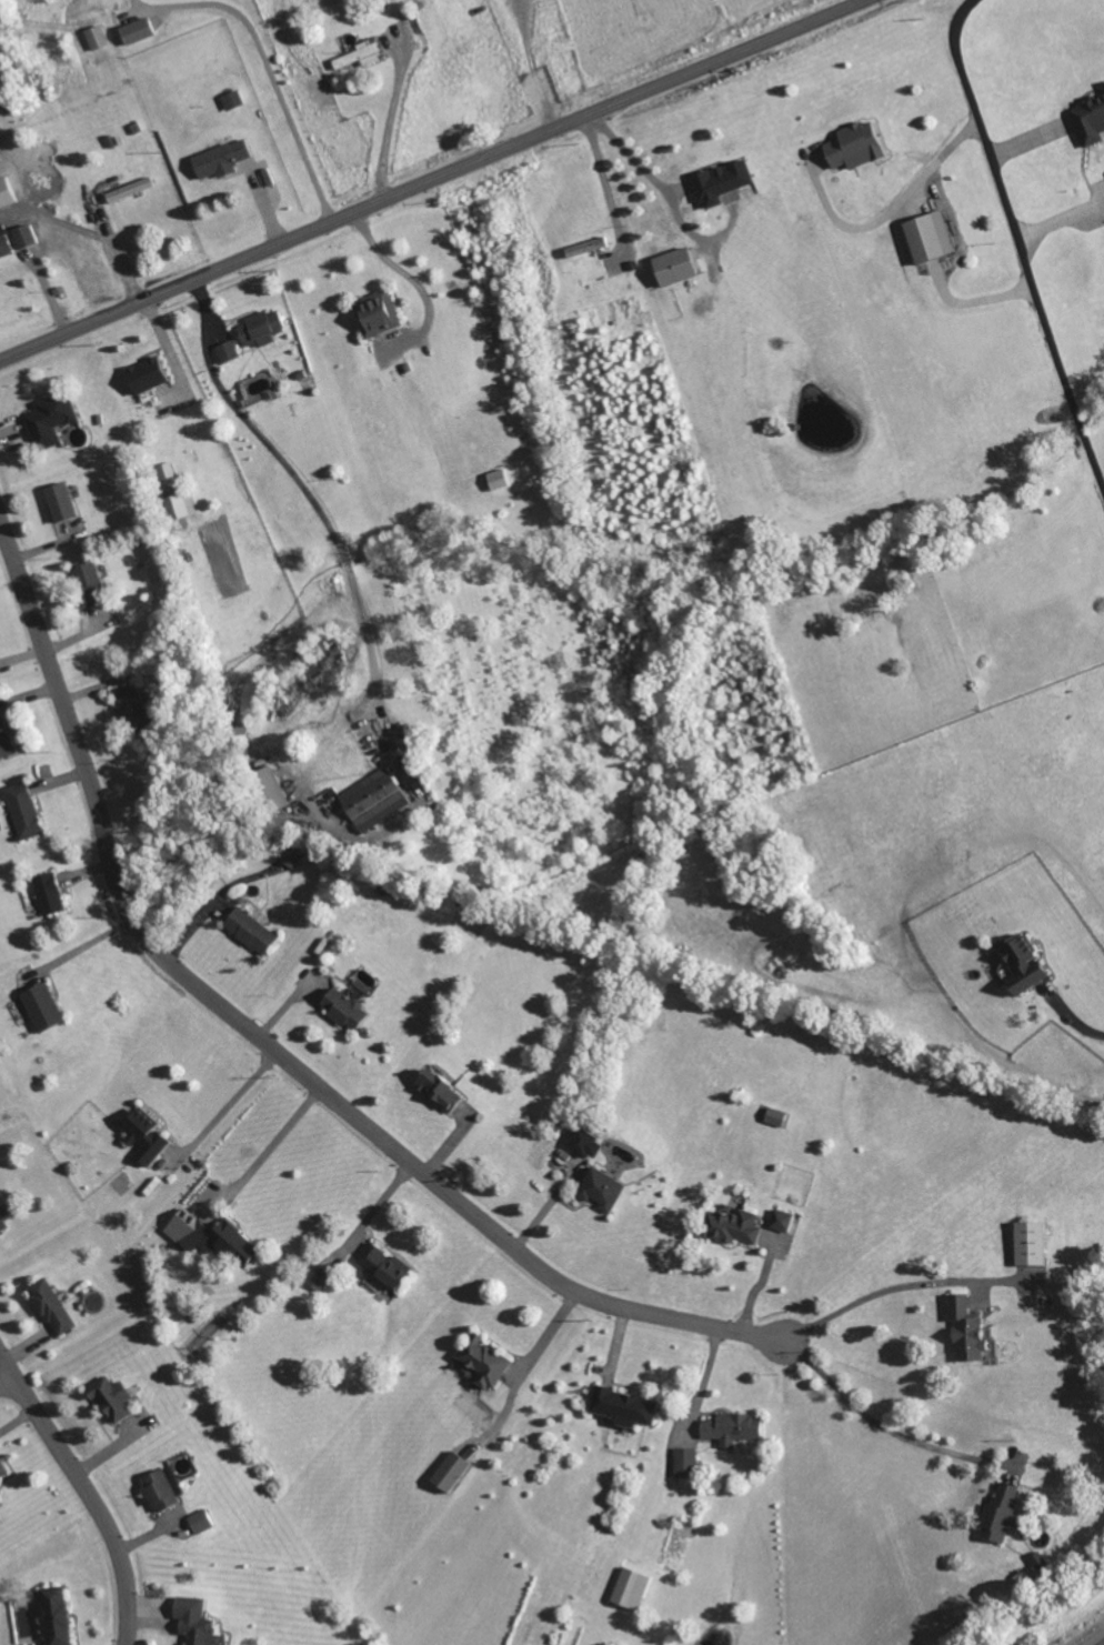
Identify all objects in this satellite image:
building: (138, 29)
building: (98, 37)
building: (361, 53)
road: (267, 66)
road: (531, 66)
building: (1103, 87)
building: (1091, 119)
road: (391, 127)
building: (856, 144)
building: (222, 158)
road: (632, 158)
road: (430, 180)
road: (604, 181)
building: (722, 181)
building: (130, 189)
road: (861, 228)
building: (24, 234)
building: (930, 235)
road: (1020, 241)
building: (4, 244)
road: (963, 248)
building: (676, 265)
road: (415, 282)
building: (378, 312)
road: (208, 315)
building: (262, 327)
building: (228, 351)
building: (147, 373)
building: (50, 418)
building: (165, 470)
building: (500, 479)
building: (60, 501)
building: (180, 504)
road: (340, 549)
building: (89, 580)
building: (132, 706)
building: (3, 740)
building: (275, 785)
building: (374, 799)
building: (23, 810)
building: (292, 854)
building: (49, 893)
building: (251, 930)
building: (1024, 963)
building: (43, 1006)
building: (345, 1007)
road: (1072, 1021)
road: (275, 1055)
building: (441, 1090)
road: (234, 1107)
building: (147, 1136)
building: (586, 1143)
road: (271, 1150)
building: (602, 1188)
building: (783, 1220)
building: (2, 1224)
building: (733, 1226)
building: (227, 1242)
building: (1032, 1243)
building: (385, 1265)
building: (320, 1277)
road: (903, 1288)
building: (53, 1306)
building: (968, 1328)
road: (548, 1338)
building: (486, 1361)
road: (4, 1380)
building: (113, 1397)
building: (626, 1407)
building: (732, 1427)
road: (891, 1430)
building: (686, 1463)
building: (3, 1468)
building: (452, 1472)
building: (164, 1488)
road: (83, 1495)
building: (0, 1503)
building: (1002, 1512)
building: (201, 1522)
building: (632, 1587)
building: (58, 1615)
building: (197, 1621)
road: (1101, 1643)

